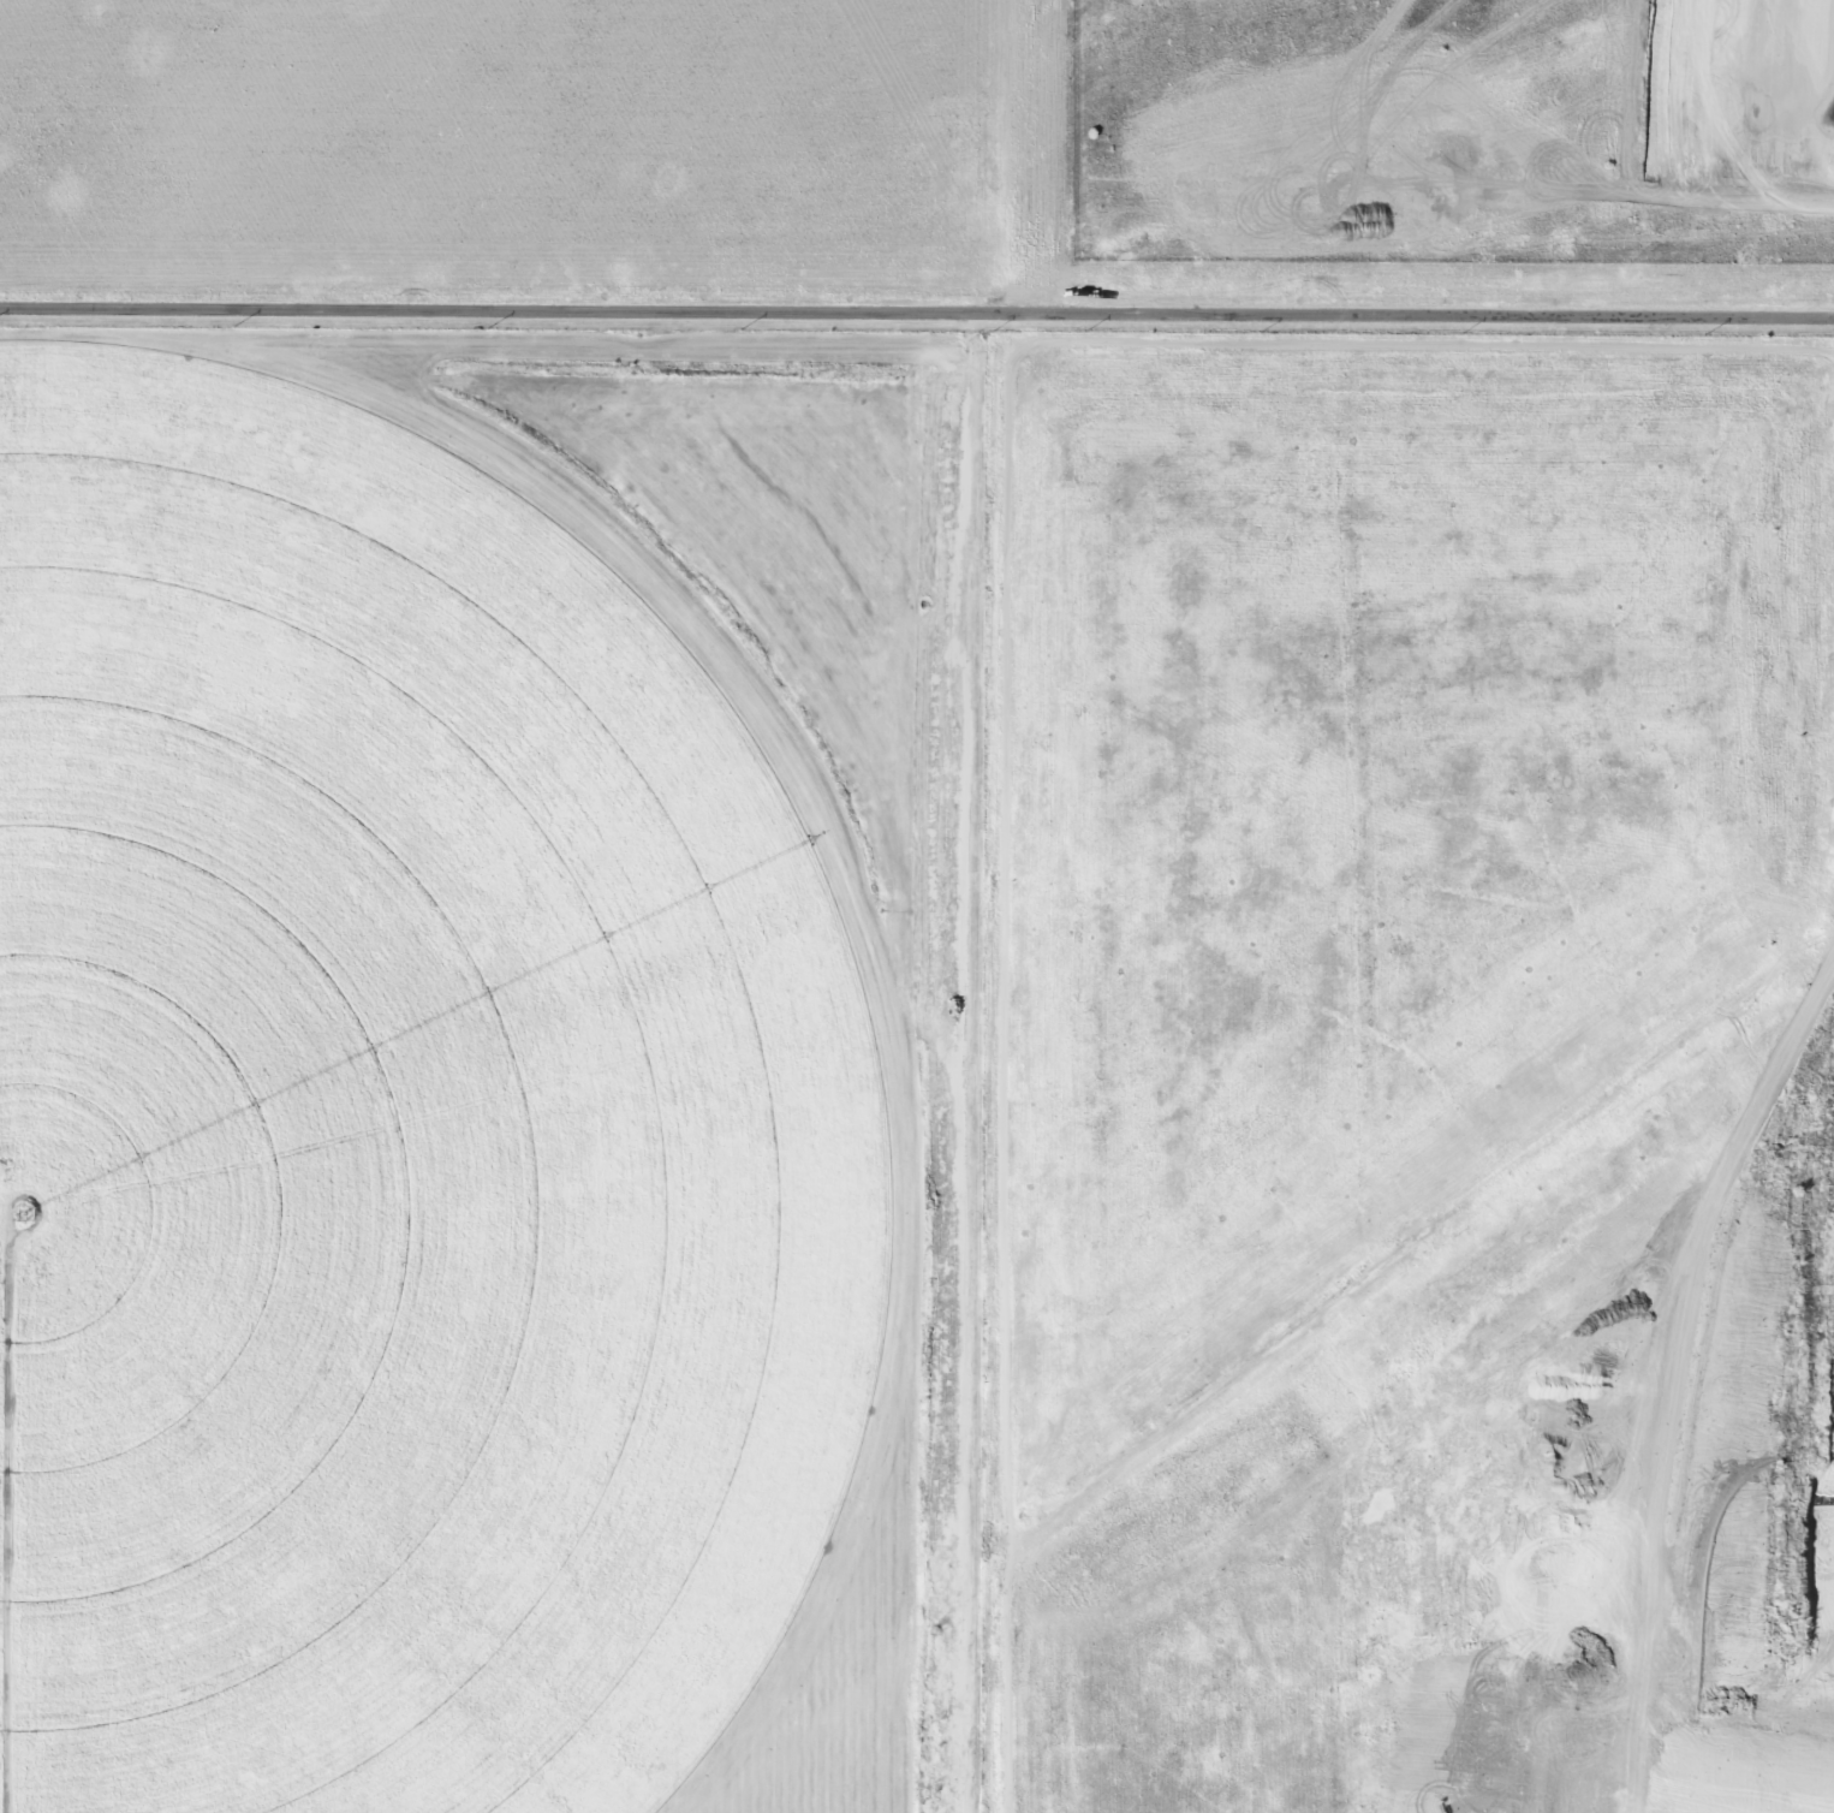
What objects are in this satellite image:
road: (917, 314)

